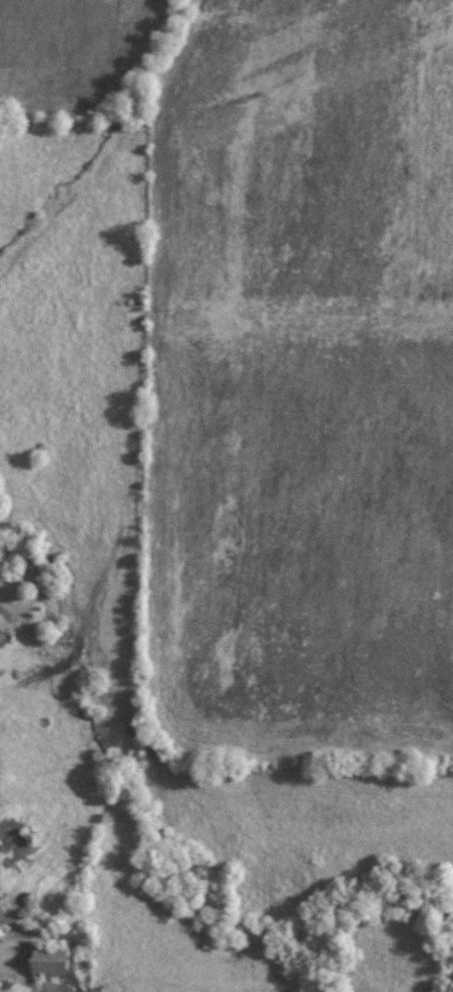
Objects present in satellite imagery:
building: (49, 960)

